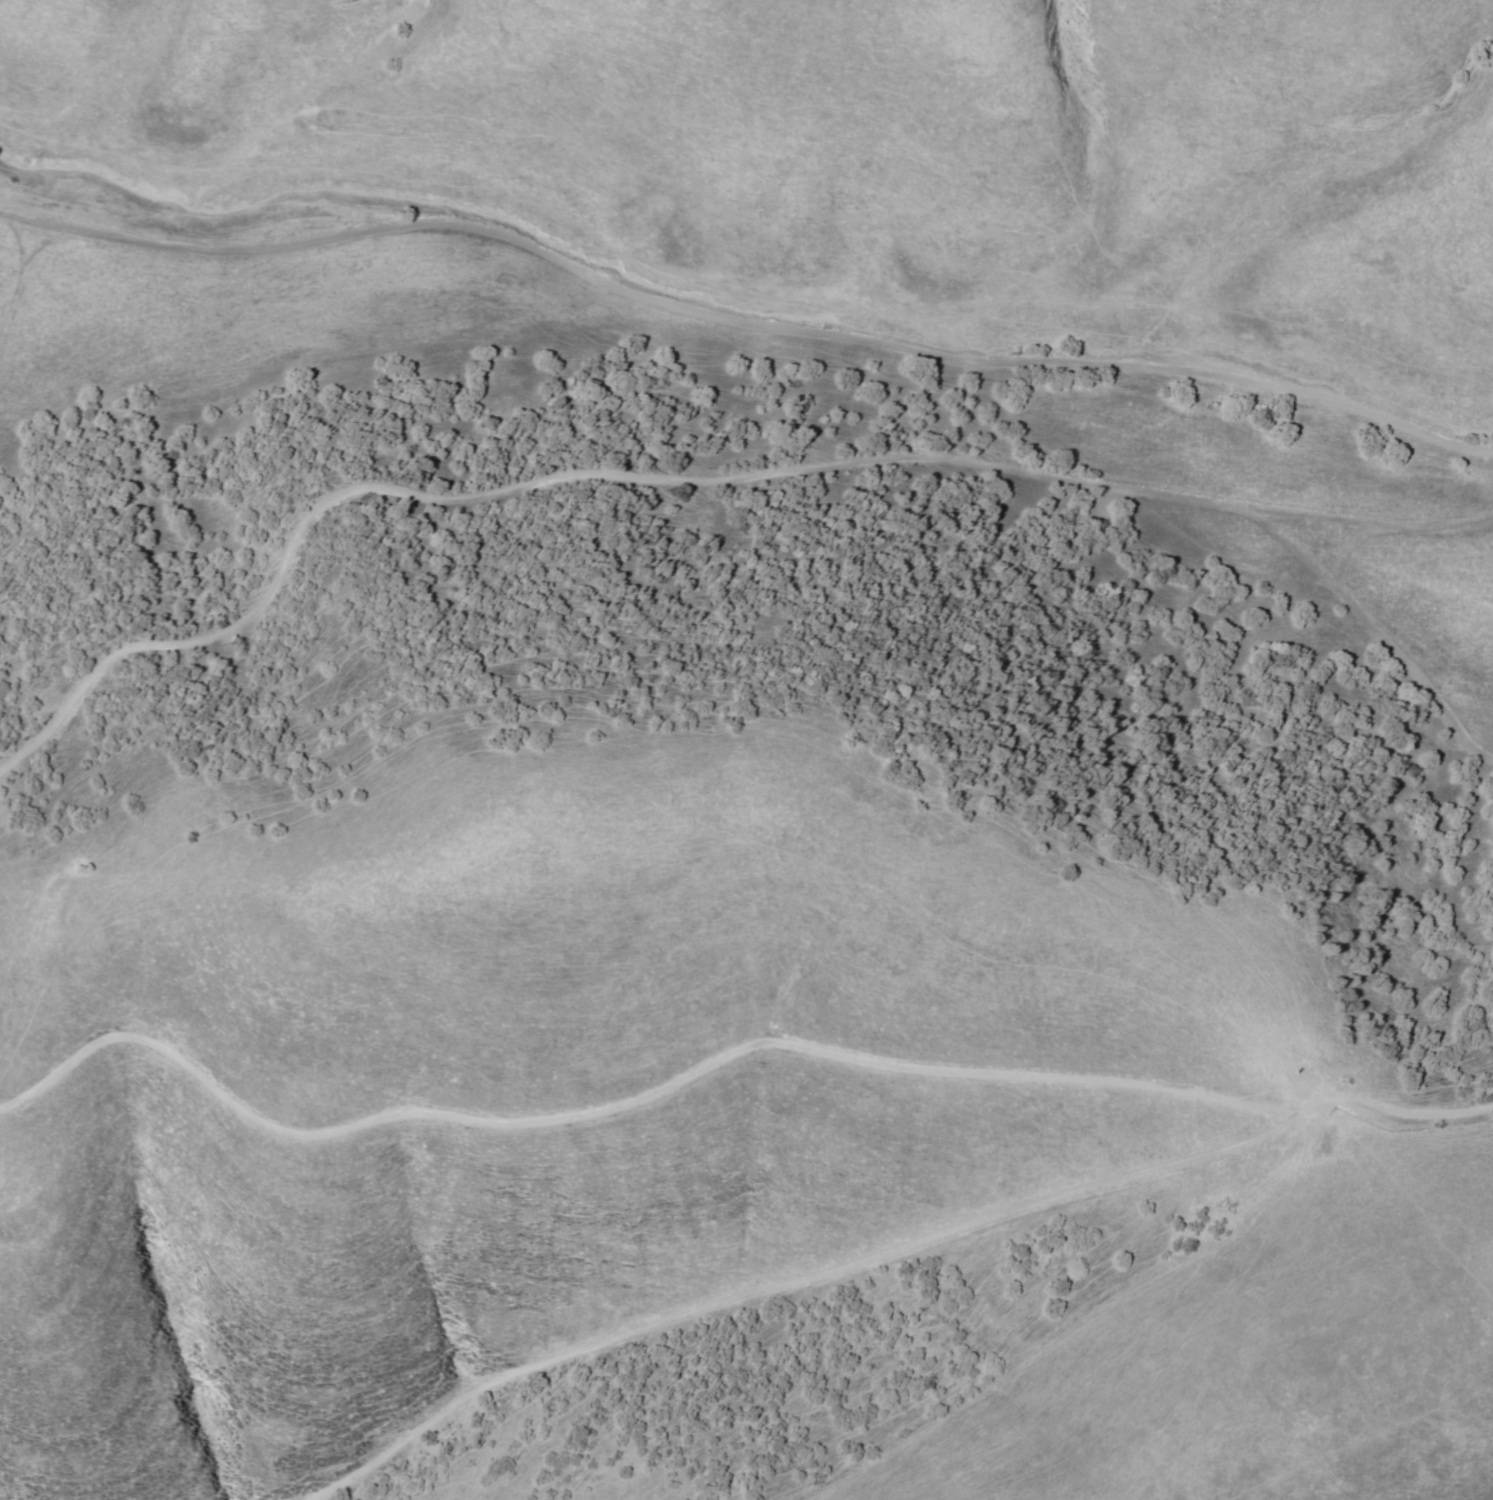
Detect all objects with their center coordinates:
road: (745, 373)
road: (615, 488)
road: (1418, 529)
road: (1394, 651)
road: (737, 1080)

